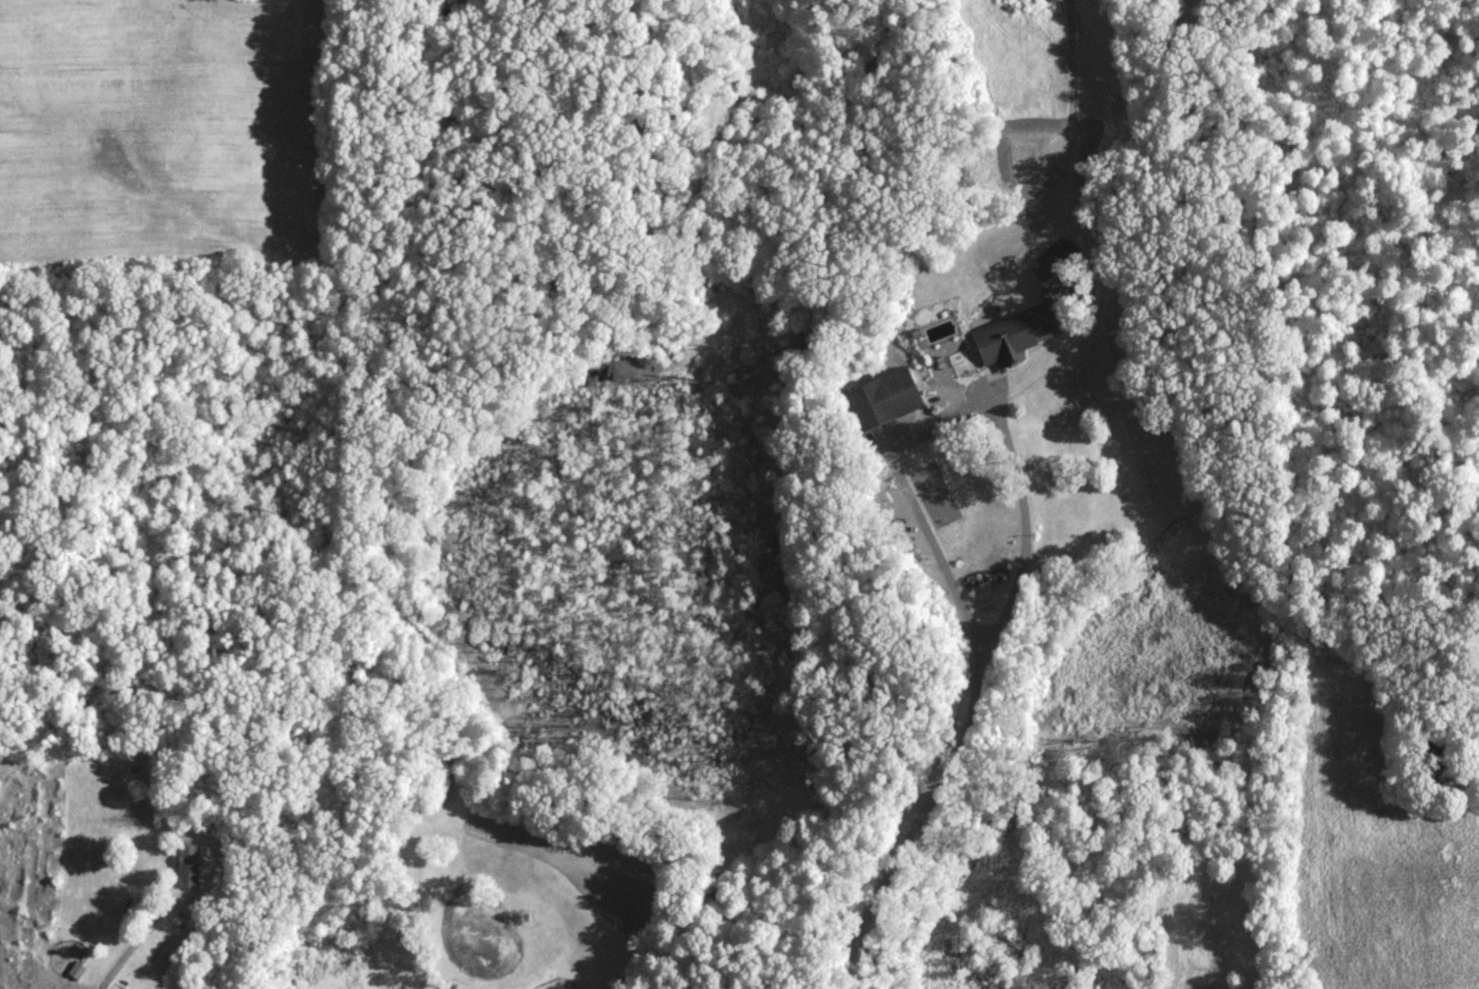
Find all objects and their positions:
building: (1009, 342)
building: (881, 405)
road: (1024, 562)
road: (940, 565)
building: (188, 872)
road: (135, 950)

